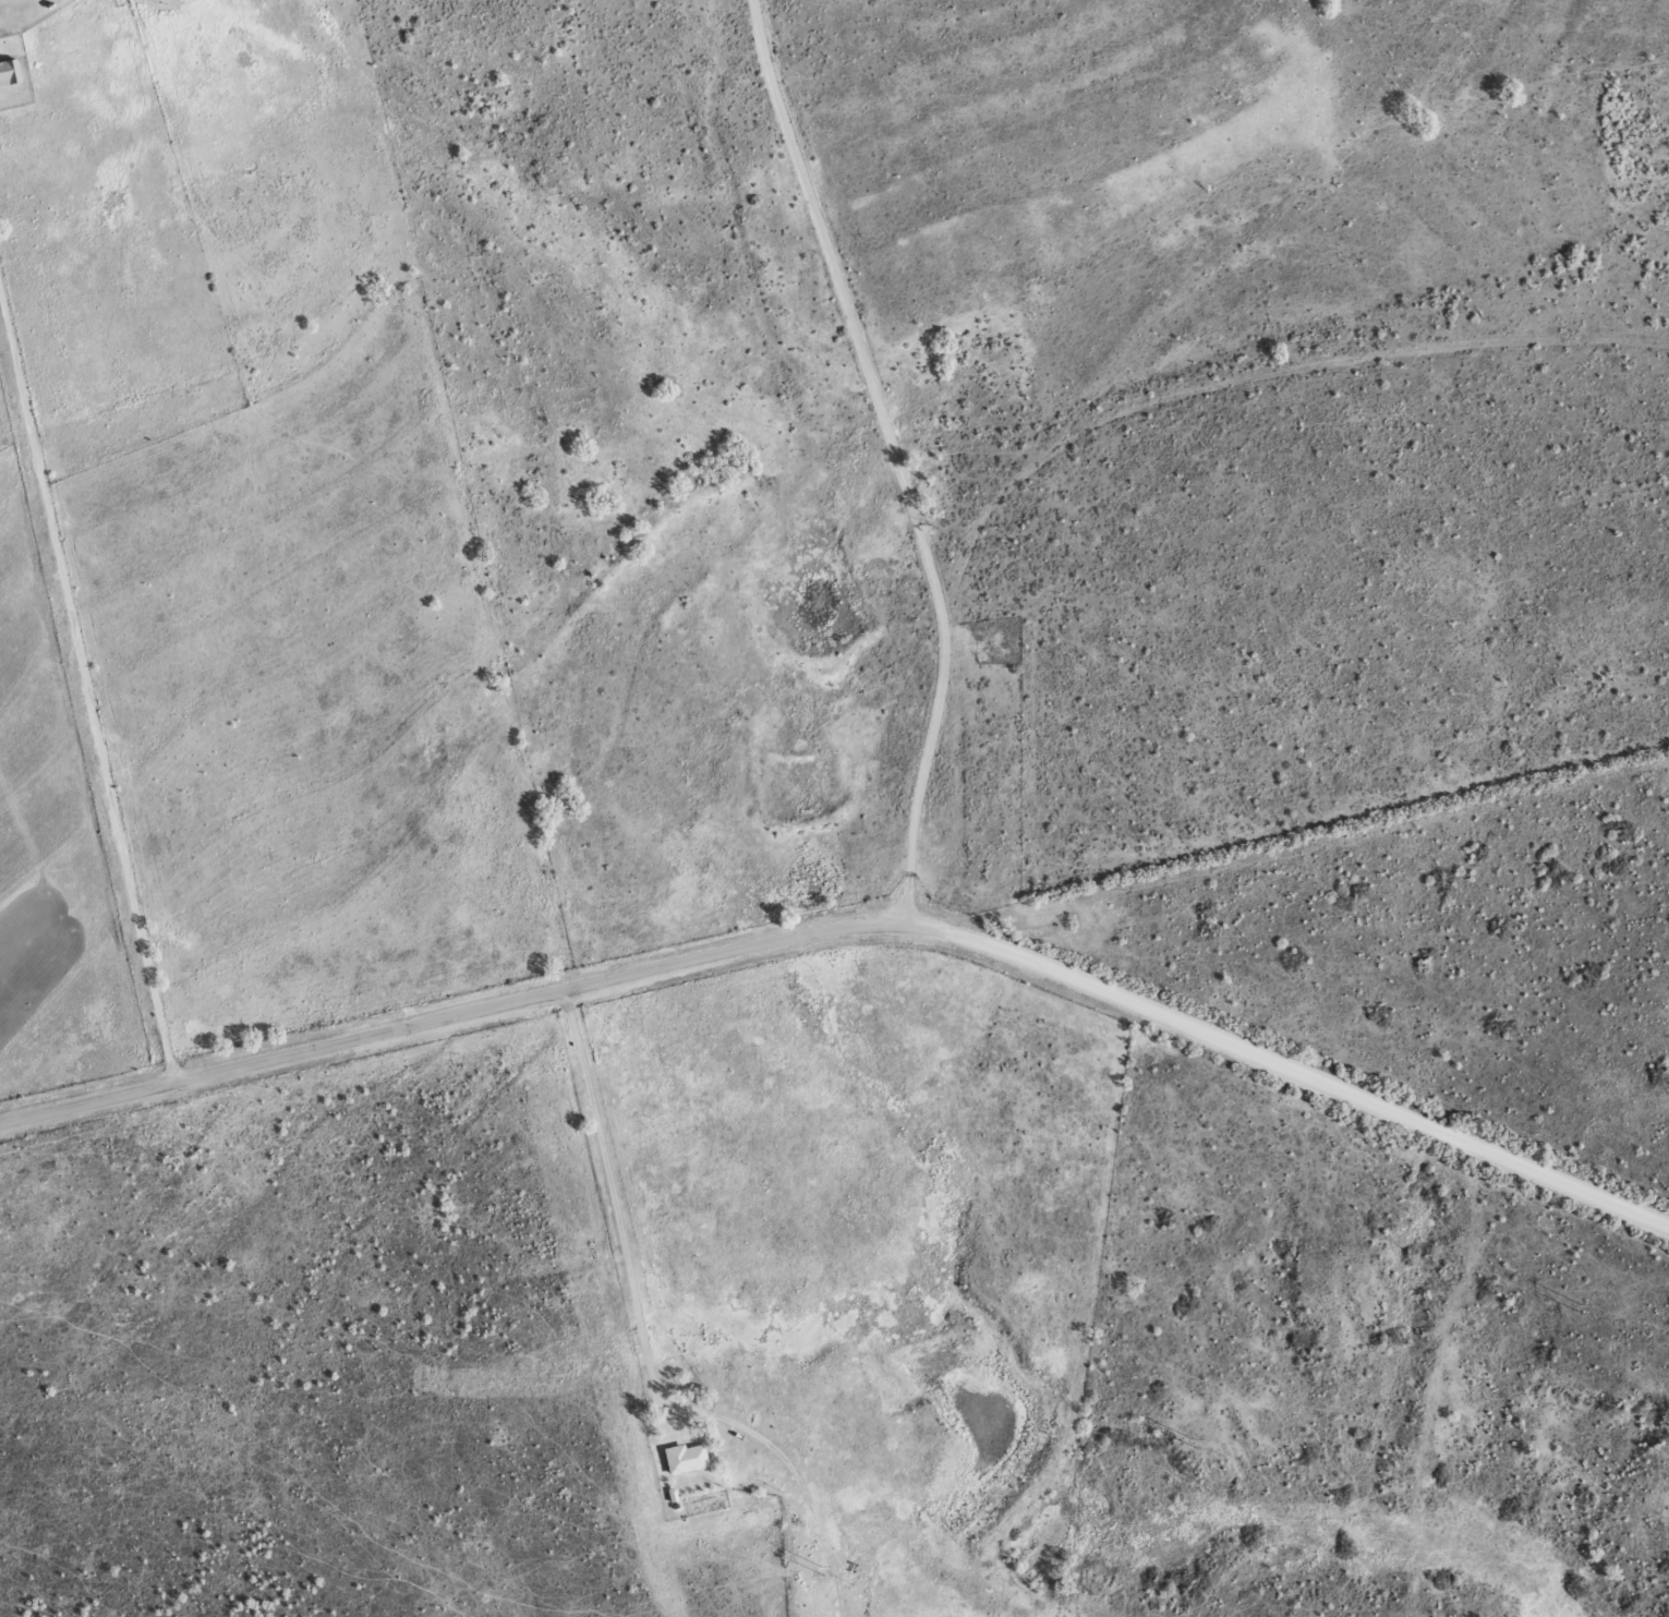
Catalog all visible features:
building: (8, 70)
road: (879, 475)
road: (90, 695)
road: (576, 846)
road: (850, 961)
power tower: (1583, 1305)
power tower: (1193, 1441)
building: (687, 1457)
power tower: (824, 1569)

